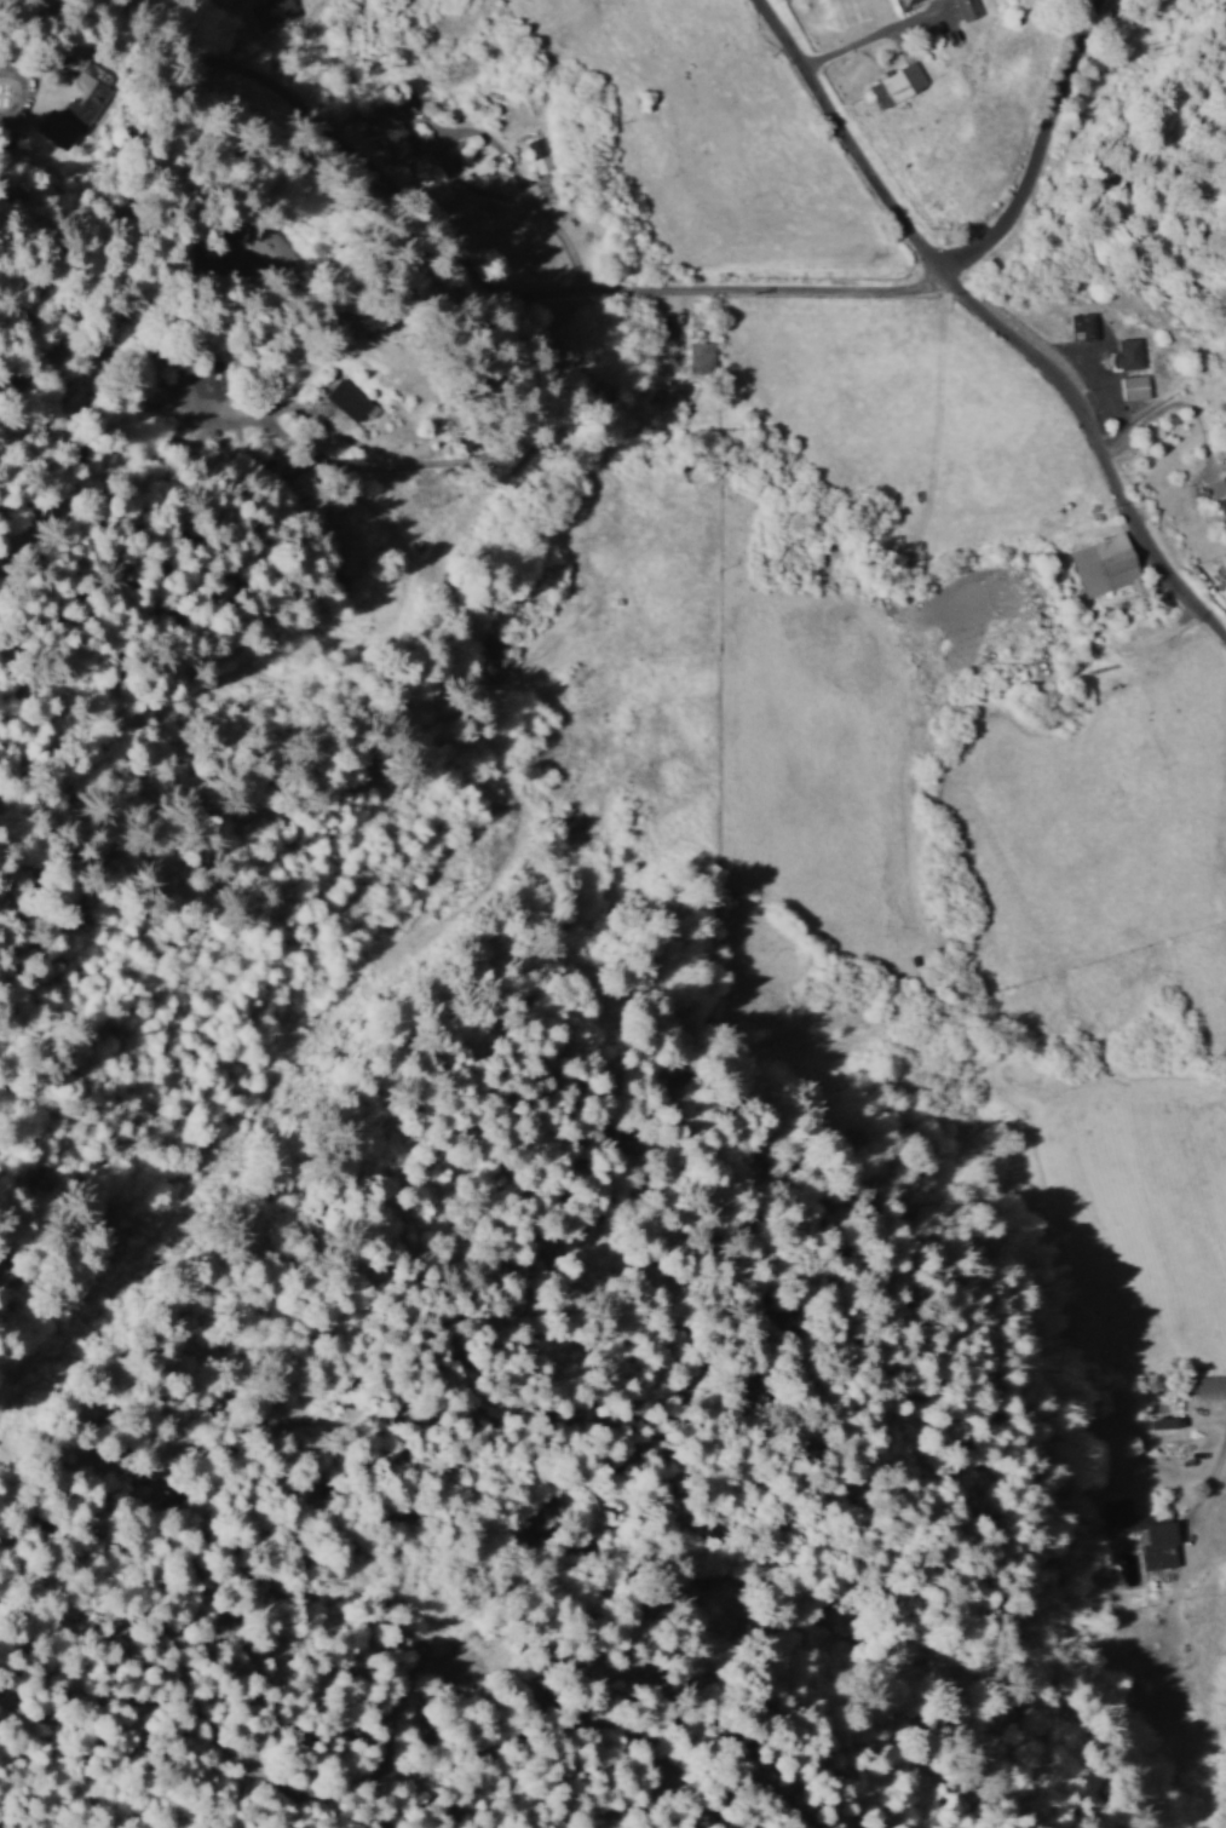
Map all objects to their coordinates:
building: (905, 4)
building: (968, 8)
road: (174, 25)
building: (897, 84)
building: (81, 103)
road: (145, 138)
road: (1035, 148)
building: (537, 154)
road: (156, 223)
road: (543, 292)
road: (991, 323)
building: (1083, 324)
building: (1130, 352)
building: (1134, 386)
building: (350, 399)
building: (1224, 481)
road: (428, 501)
building: (1224, 506)
building: (1104, 563)
building: (1211, 1386)
building: (1169, 1421)
road: (1204, 1470)
building: (1147, 1533)

